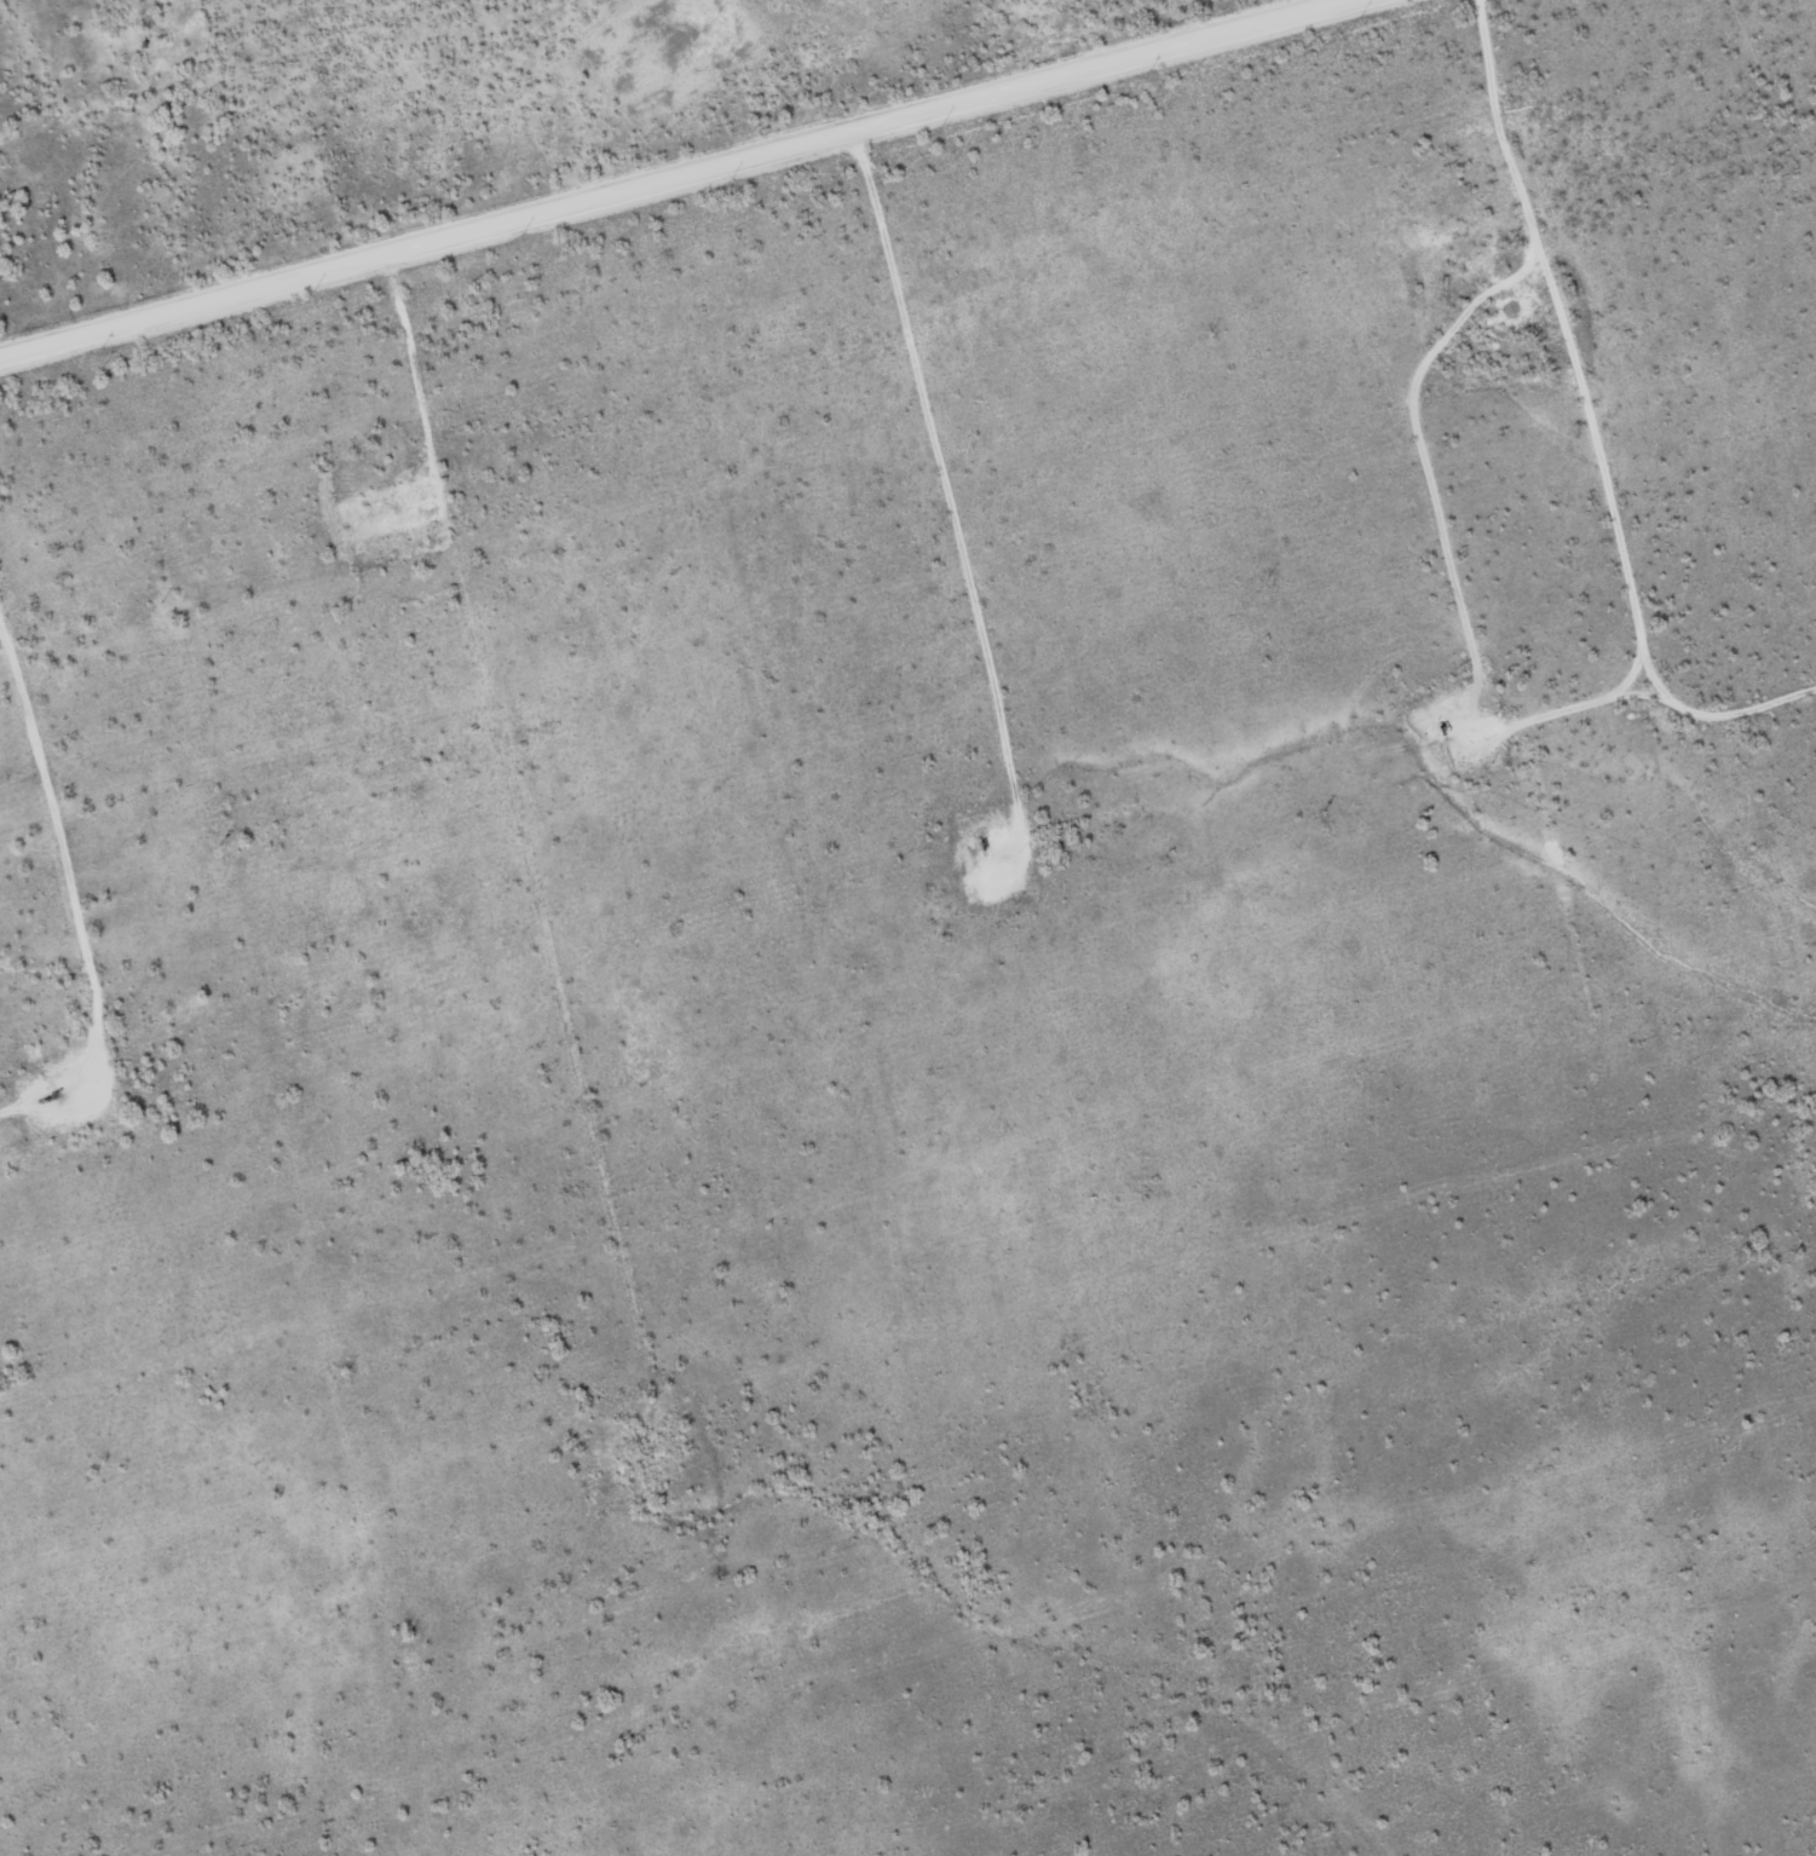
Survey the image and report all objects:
road: (681, 180)
road: (69, 889)

